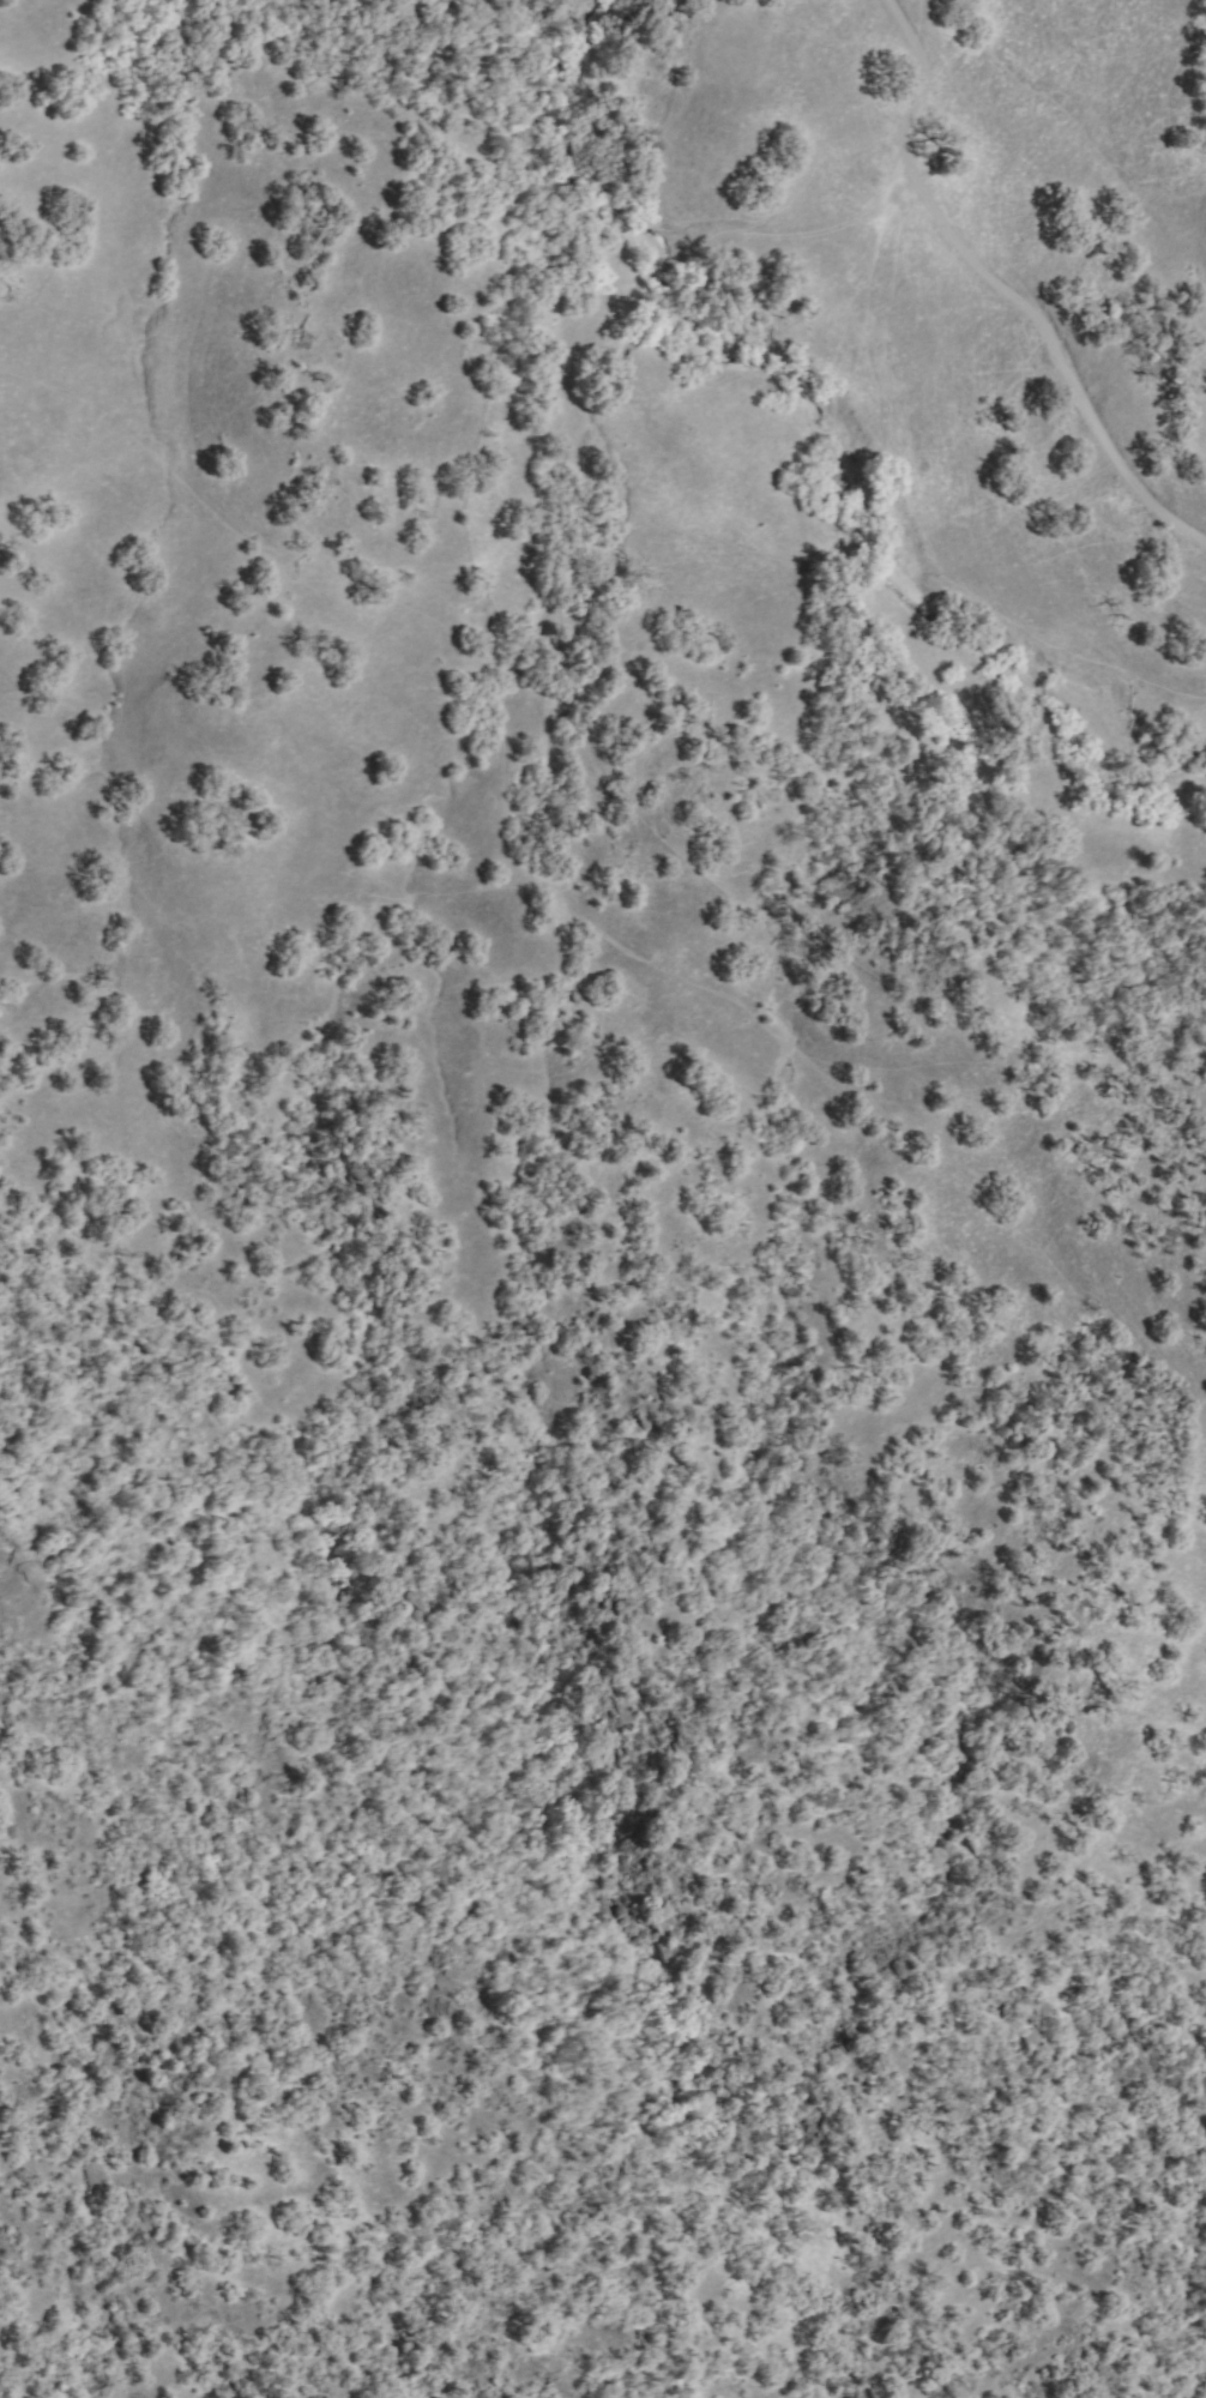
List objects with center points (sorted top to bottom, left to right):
road: (1006, 287)

